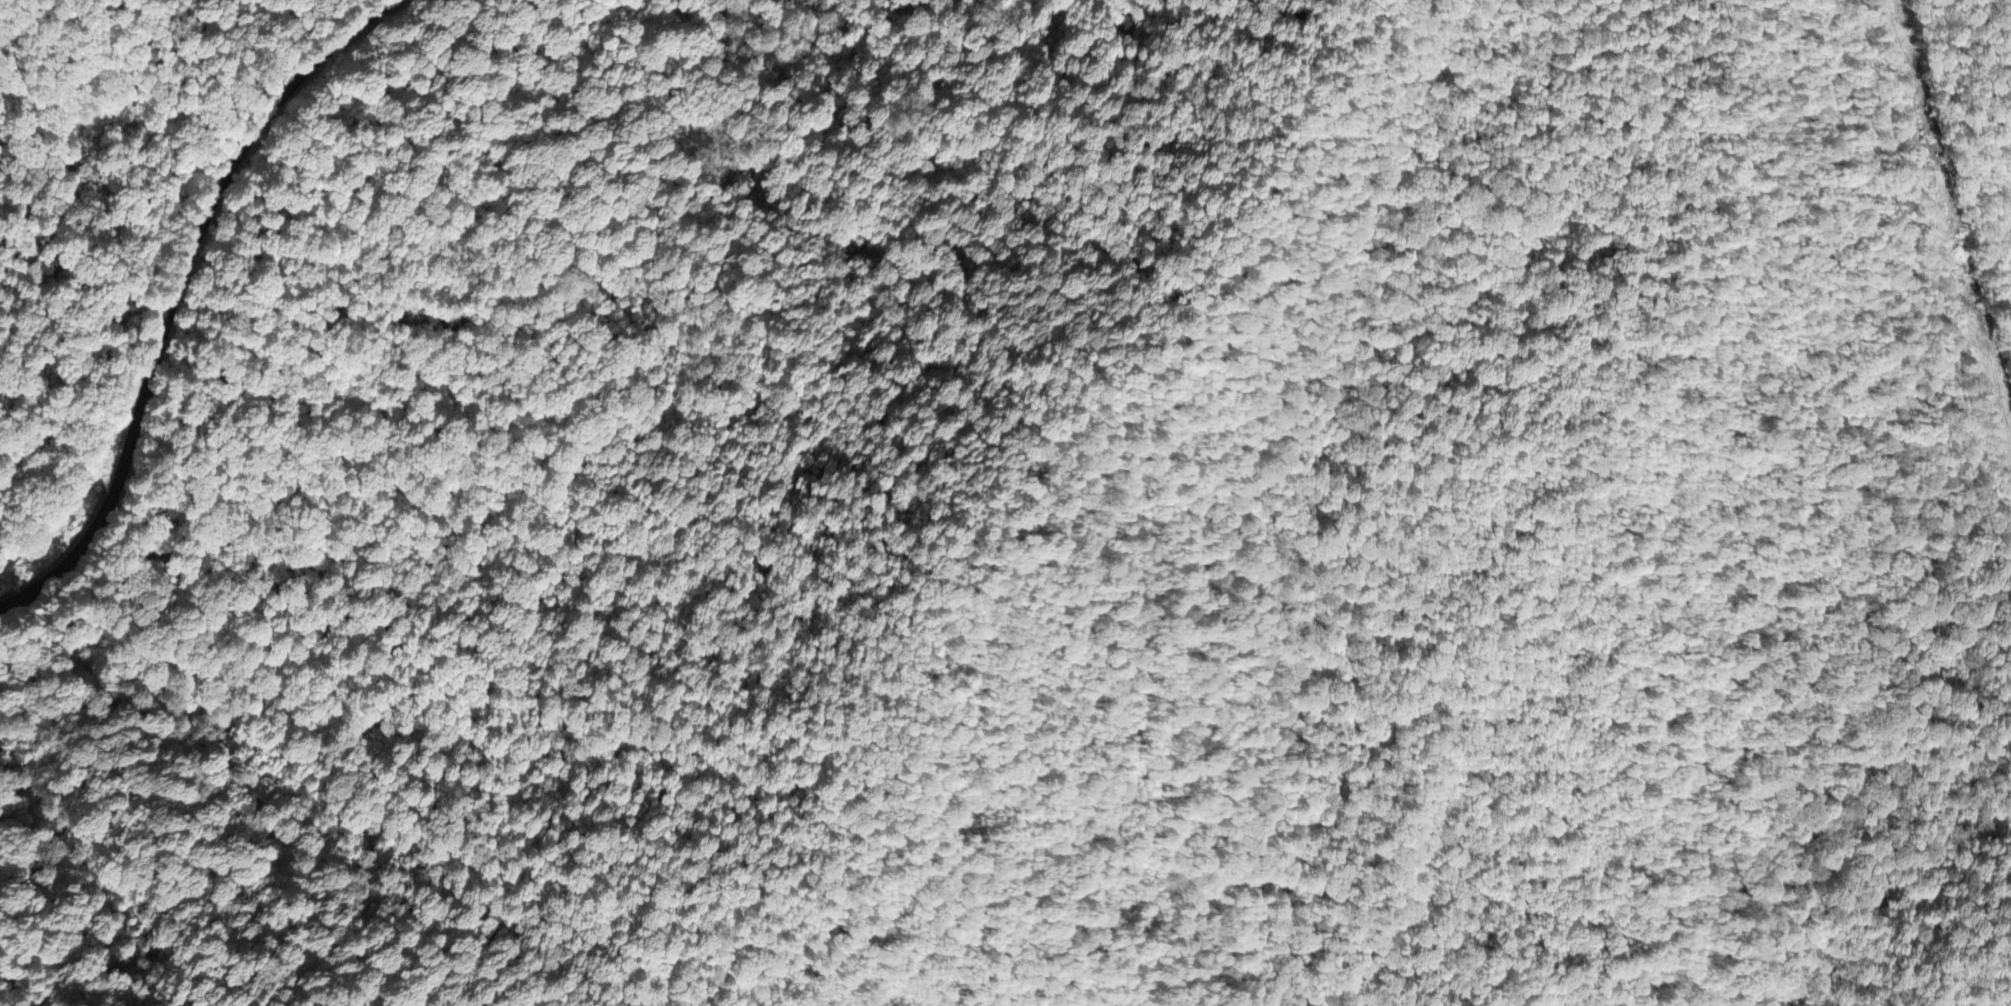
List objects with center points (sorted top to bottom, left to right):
road: (174, 293)

